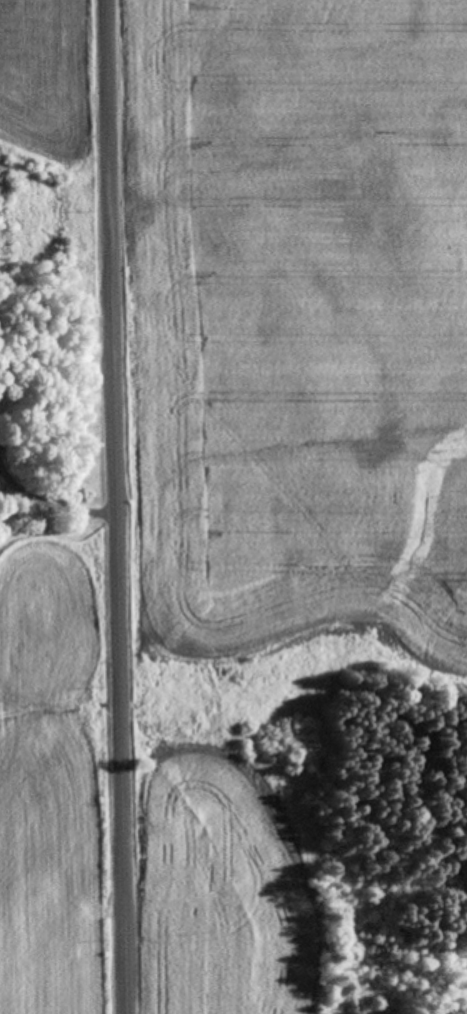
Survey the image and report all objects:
road: (118, 506)

